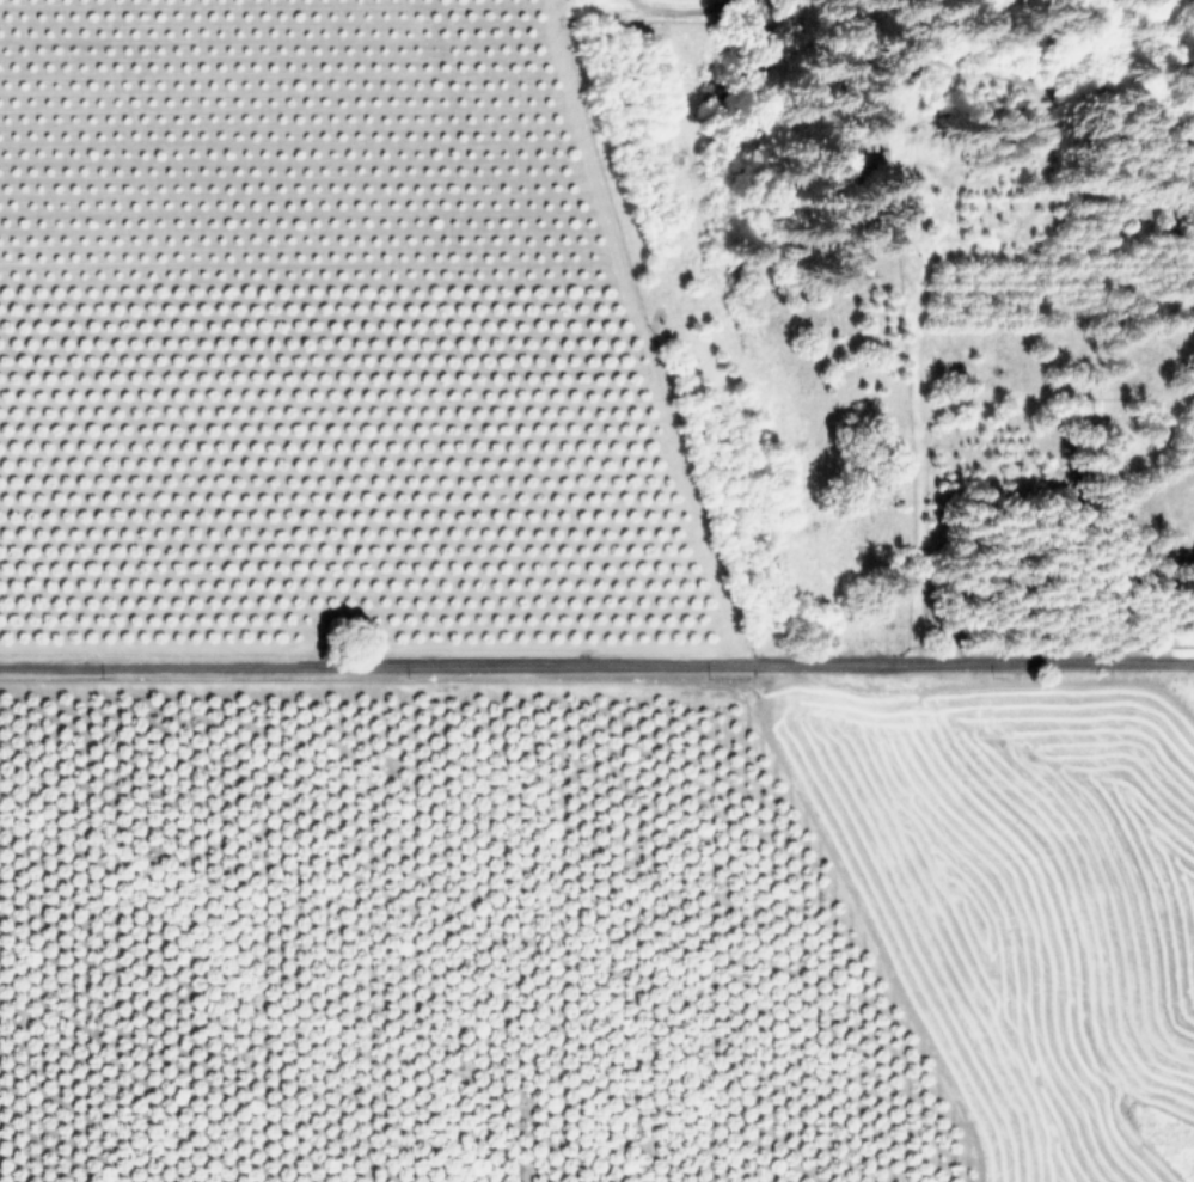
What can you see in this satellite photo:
road: (596, 660)
crop: (500, 661)

